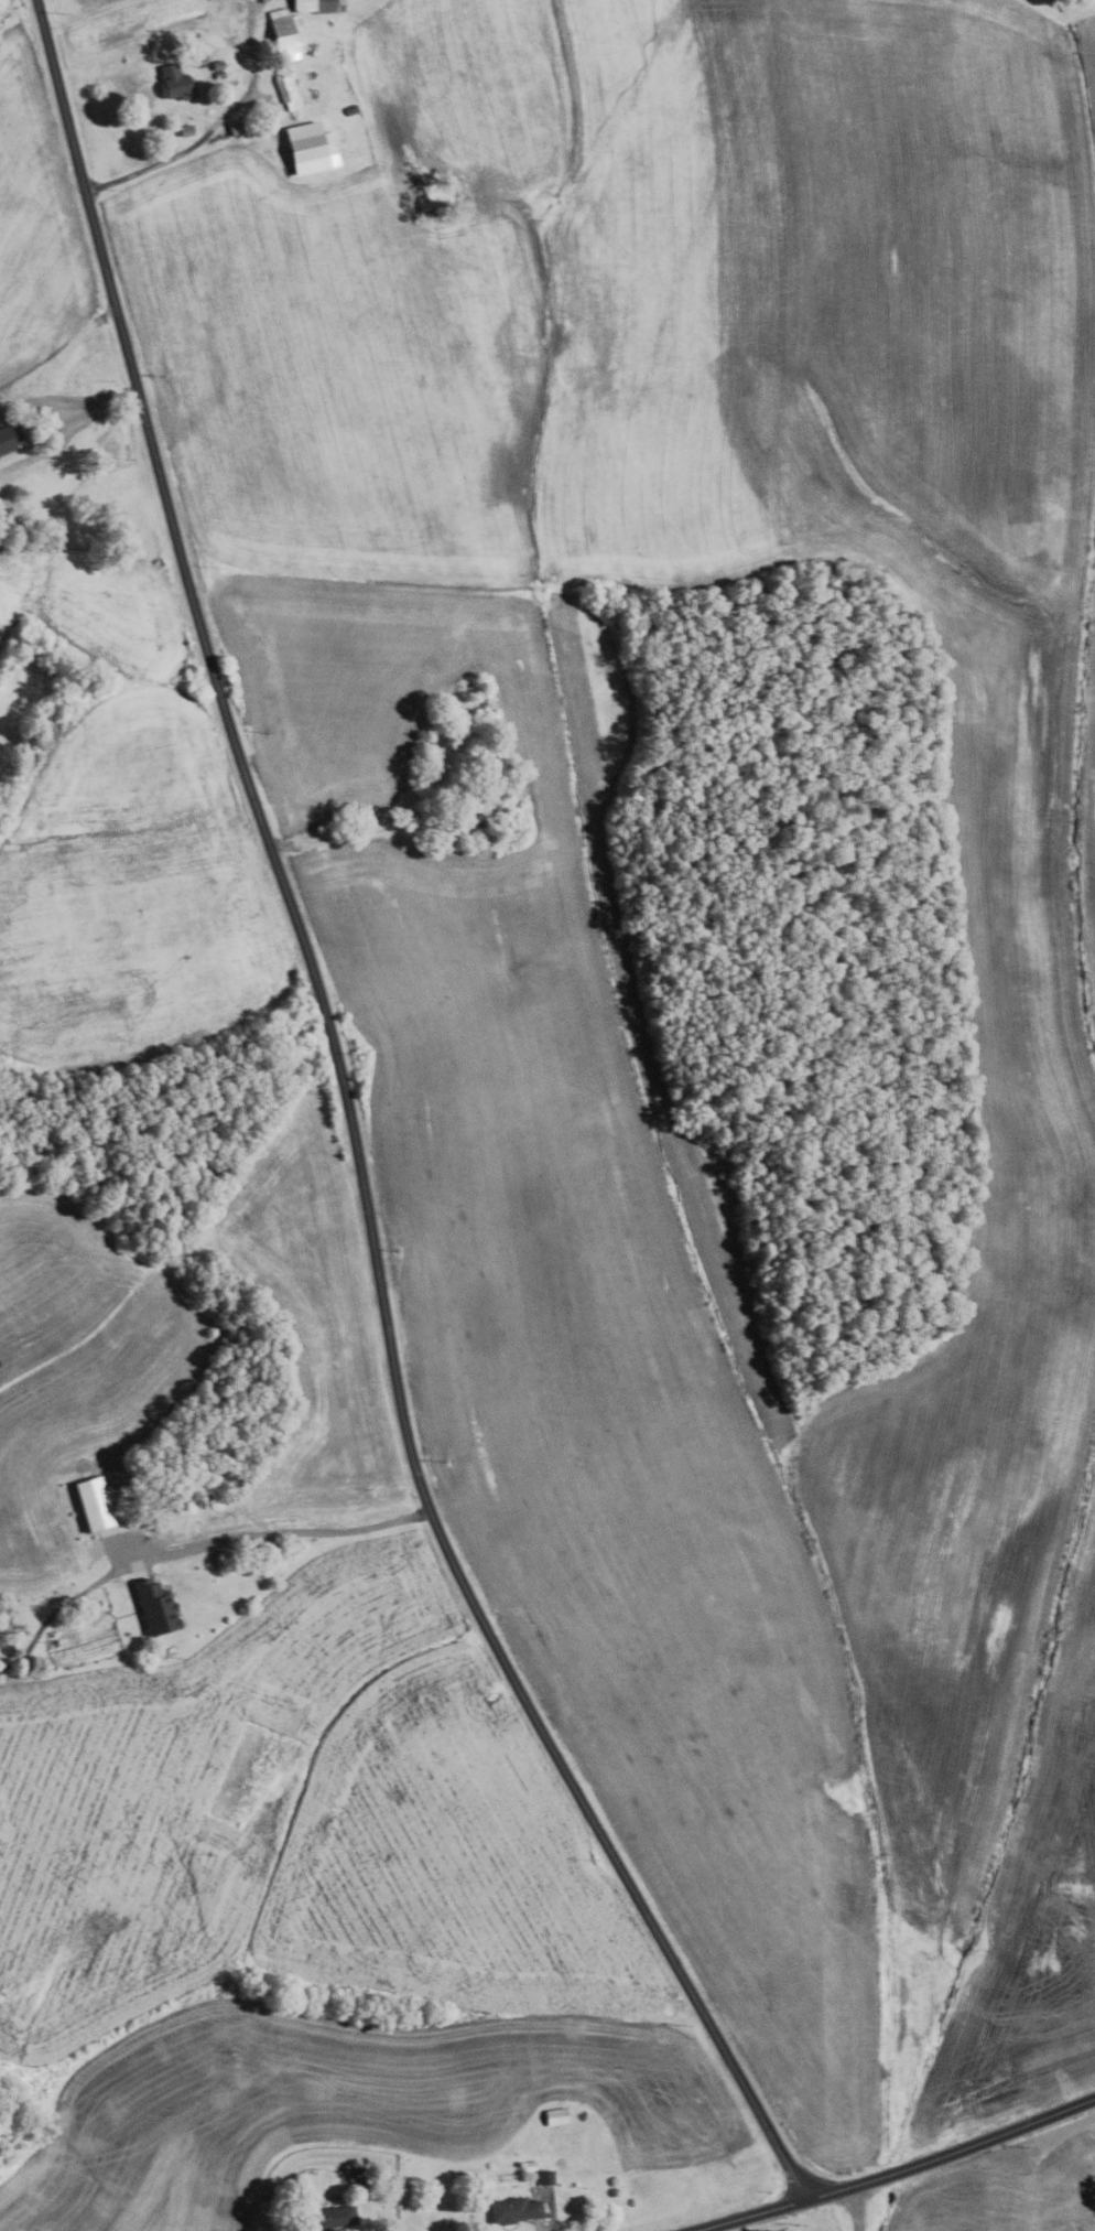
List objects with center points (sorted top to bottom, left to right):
building: (317, 6)
road: (85, 14)
building: (286, 34)
building: (199, 62)
building: (217, 64)
building: (218, 74)
building: (174, 83)
building: (286, 91)
building: (350, 109)
road: (217, 125)
building: (236, 127)
building: (185, 129)
building: (310, 147)
road: (85, 411)
building: (0, 413)
building: (9, 438)
building: (425, 752)
building: (475, 813)
road: (355, 834)
road: (353, 1131)
crop: (313, 1321)
crop: (77, 1367)
building: (94, 1506)
road: (293, 1528)
building: (218, 1559)
building: (155, 1608)
crop: (300, 1823)
crop: (346, 2103)
building: (555, 2116)
building: (529, 2165)
road: (896, 2173)
building: (545, 2176)
building: (360, 2184)
road: (855, 2209)
building: (513, 2210)
building: (335, 2218)
road: (550, 2218)
road: (696, 2230)

